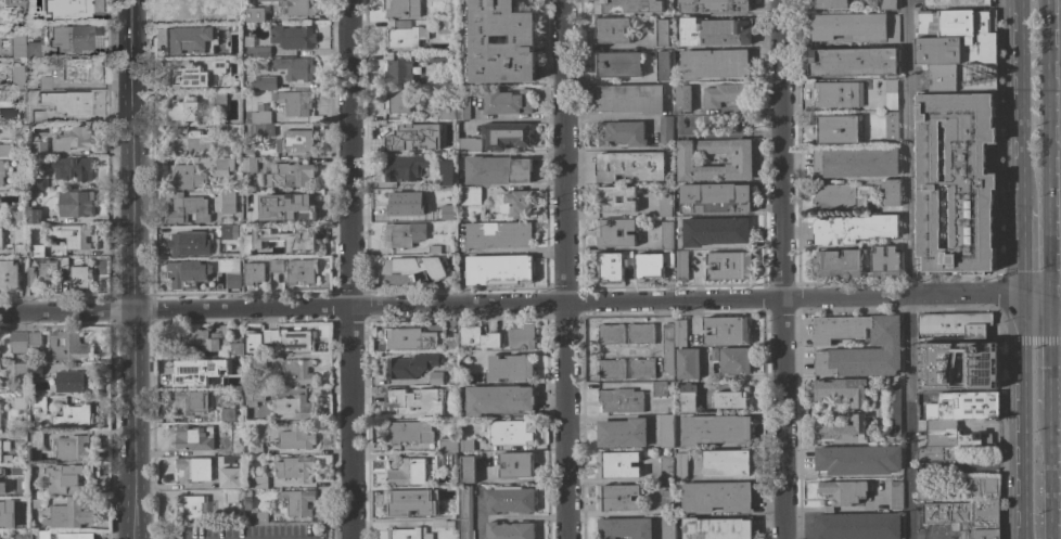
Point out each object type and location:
building: (14, 2)
building: (955, 3)
building: (831, 4)
building: (885, 4)
building: (74, 5)
building: (714, 5)
building: (296, 7)
building: (627, 7)
building: (401, 8)
building: (179, 11)
building: (235, 13)
building: (253, 14)
building: (41, 17)
building: (400, 24)
building: (956, 24)
building: (848, 25)
building: (446, 27)
building: (612, 30)
building: (715, 31)
building: (661, 33)
building: (69, 37)
building: (292, 37)
building: (404, 37)
building: (190, 39)
building: (498, 41)
building: (23, 44)
road: (600, 46)
building: (956, 50)
building: (257, 51)
building: (434, 57)
building: (853, 62)
building: (617, 64)
building: (713, 64)
building: (218, 65)
building: (662, 65)
building: (75, 68)
building: (295, 68)
building: (248, 69)
building: (398, 72)
building: (16, 77)
building: (188, 77)
building: (962, 77)
road: (603, 79)
building: (44, 82)
building: (266, 82)
building: (724, 94)
building: (838, 94)
building: (890, 94)
building: (17, 95)
building: (219, 99)
building: (629, 99)
building: (682, 99)
building: (76, 101)
building: (397, 101)
building: (506, 101)
building: (293, 102)
road: (1022, 104)
building: (462, 105)
building: (43, 111)
building: (181, 111)
building: (261, 115)
building: (891, 128)
building: (219, 129)
building: (261, 129)
building: (665, 129)
building: (836, 129)
building: (622, 133)
building: (506, 136)
building: (74, 137)
building: (412, 138)
building: (294, 141)
building: (190, 144)
building: (468, 145)
building: (37, 149)
building: (4, 151)
road: (512, 154)
road: (132, 156)
road: (1046, 157)
building: (741, 161)
building: (856, 163)
building: (248, 165)
building: (629, 166)
building: (402, 167)
building: (72, 168)
building: (222, 168)
building: (496, 170)
building: (1, 172)
building: (287, 175)
building: (448, 175)
building: (184, 178)
building: (956, 179)
building: (40, 184)
building: (891, 193)
building: (469, 195)
building: (843, 195)
building: (606, 198)
building: (716, 198)
building: (228, 203)
building: (402, 203)
building: (515, 203)
building: (75, 204)
building: (664, 204)
building: (285, 206)
building: (187, 209)
building: (447, 213)
building: (33, 215)
building: (14, 218)
building: (853, 229)
building: (227, 231)
building: (714, 231)
building: (615, 233)
building: (402, 234)
building: (499, 234)
building: (0, 235)
building: (71, 235)
building: (666, 235)
building: (285, 239)
building: (186, 244)
building: (434, 249)
building: (18, 251)
building: (38, 251)
road: (1024, 258)
building: (448, 260)
building: (884, 262)
building: (63, 264)
building: (838, 264)
building: (652, 265)
building: (680, 265)
building: (276, 266)
building: (612, 266)
building: (729, 266)
road: (345, 269)
building: (499, 269)
road: (562, 269)
road: (779, 269)
road: (907, 269)
building: (253, 272)
building: (301, 272)
building: (398, 272)
building: (14, 273)
building: (204, 273)
building: (48, 274)
building: (80, 277)
road: (687, 300)
road: (240, 310)
road: (67, 313)
road: (1043, 315)
building: (955, 323)
road: (1026, 328)
building: (726, 331)
building: (640, 333)
building: (680, 333)
building: (610, 334)
building: (478, 337)
building: (521, 337)
building: (34, 338)
building: (408, 338)
building: (209, 339)
building: (289, 339)
building: (17, 342)
building: (253, 342)
building: (451, 344)
building: (890, 346)
building: (68, 347)
building: (234, 349)
building: (668, 349)
building: (714, 355)
building: (734, 360)
road: (1046, 361)
building: (257, 362)
building: (687, 363)
building: (958, 364)
building: (409, 367)
building: (510, 368)
building: (641, 369)
building: (35, 370)
building: (189, 370)
building: (611, 370)
building: (21, 372)
building: (296, 373)
building: (436, 378)
building: (229, 381)
building: (73, 382)
building: (659, 388)
building: (842, 390)
building: (254, 397)
building: (687, 398)
building: (498, 399)
building: (729, 399)
building: (619, 401)
building: (420, 402)
building: (190, 403)
building: (20, 405)
building: (38, 405)
building: (963, 406)
building: (294, 409)
building: (893, 409)
building: (229, 415)
building: (74, 416)
road: (135, 425)
building: (715, 428)
building: (666, 432)
building: (843, 432)
building: (408, 433)
building: (510, 433)
building: (621, 433)
building: (953, 435)
building: (21, 436)
building: (194, 437)
building: (294, 438)
building: (36, 439)
road: (1026, 442)
building: (237, 444)
building: (447, 445)
building: (466, 445)
building: (72, 449)
building: (255, 449)
building: (0, 452)
building: (936, 453)
building: (449, 459)
building: (857, 460)
building: (727, 463)
building: (617, 464)
building: (516, 465)
building: (680, 466)
building: (295, 469)
building: (666, 469)
building: (193, 470)
building: (468, 470)
building: (1, 472)
building: (407, 473)
road: (1047, 473)
building: (230, 476)
building: (63, 478)
road: (524, 480)
building: (257, 483)
building: (2, 488)
building: (960, 489)
building: (843, 492)
building: (895, 495)
building: (230, 496)
building: (715, 497)
building: (617, 498)
building: (247, 500)
building: (509, 500)
building: (297, 501)
building: (666, 502)
building: (35, 503)
building: (411, 503)
building: (194, 508)
building: (465, 512)
building: (962, 512)
road: (608, 513)
building: (8, 514)
building: (68, 514)
building: (260, 517)
building: (442, 523)
building: (857, 526)
building: (667, 527)
building: (624, 528)
building: (716, 528)
building: (509, 530)
building: (977, 531)
building: (408, 534)
building: (42, 535)
building: (72, 536)
road: (929, 537)

